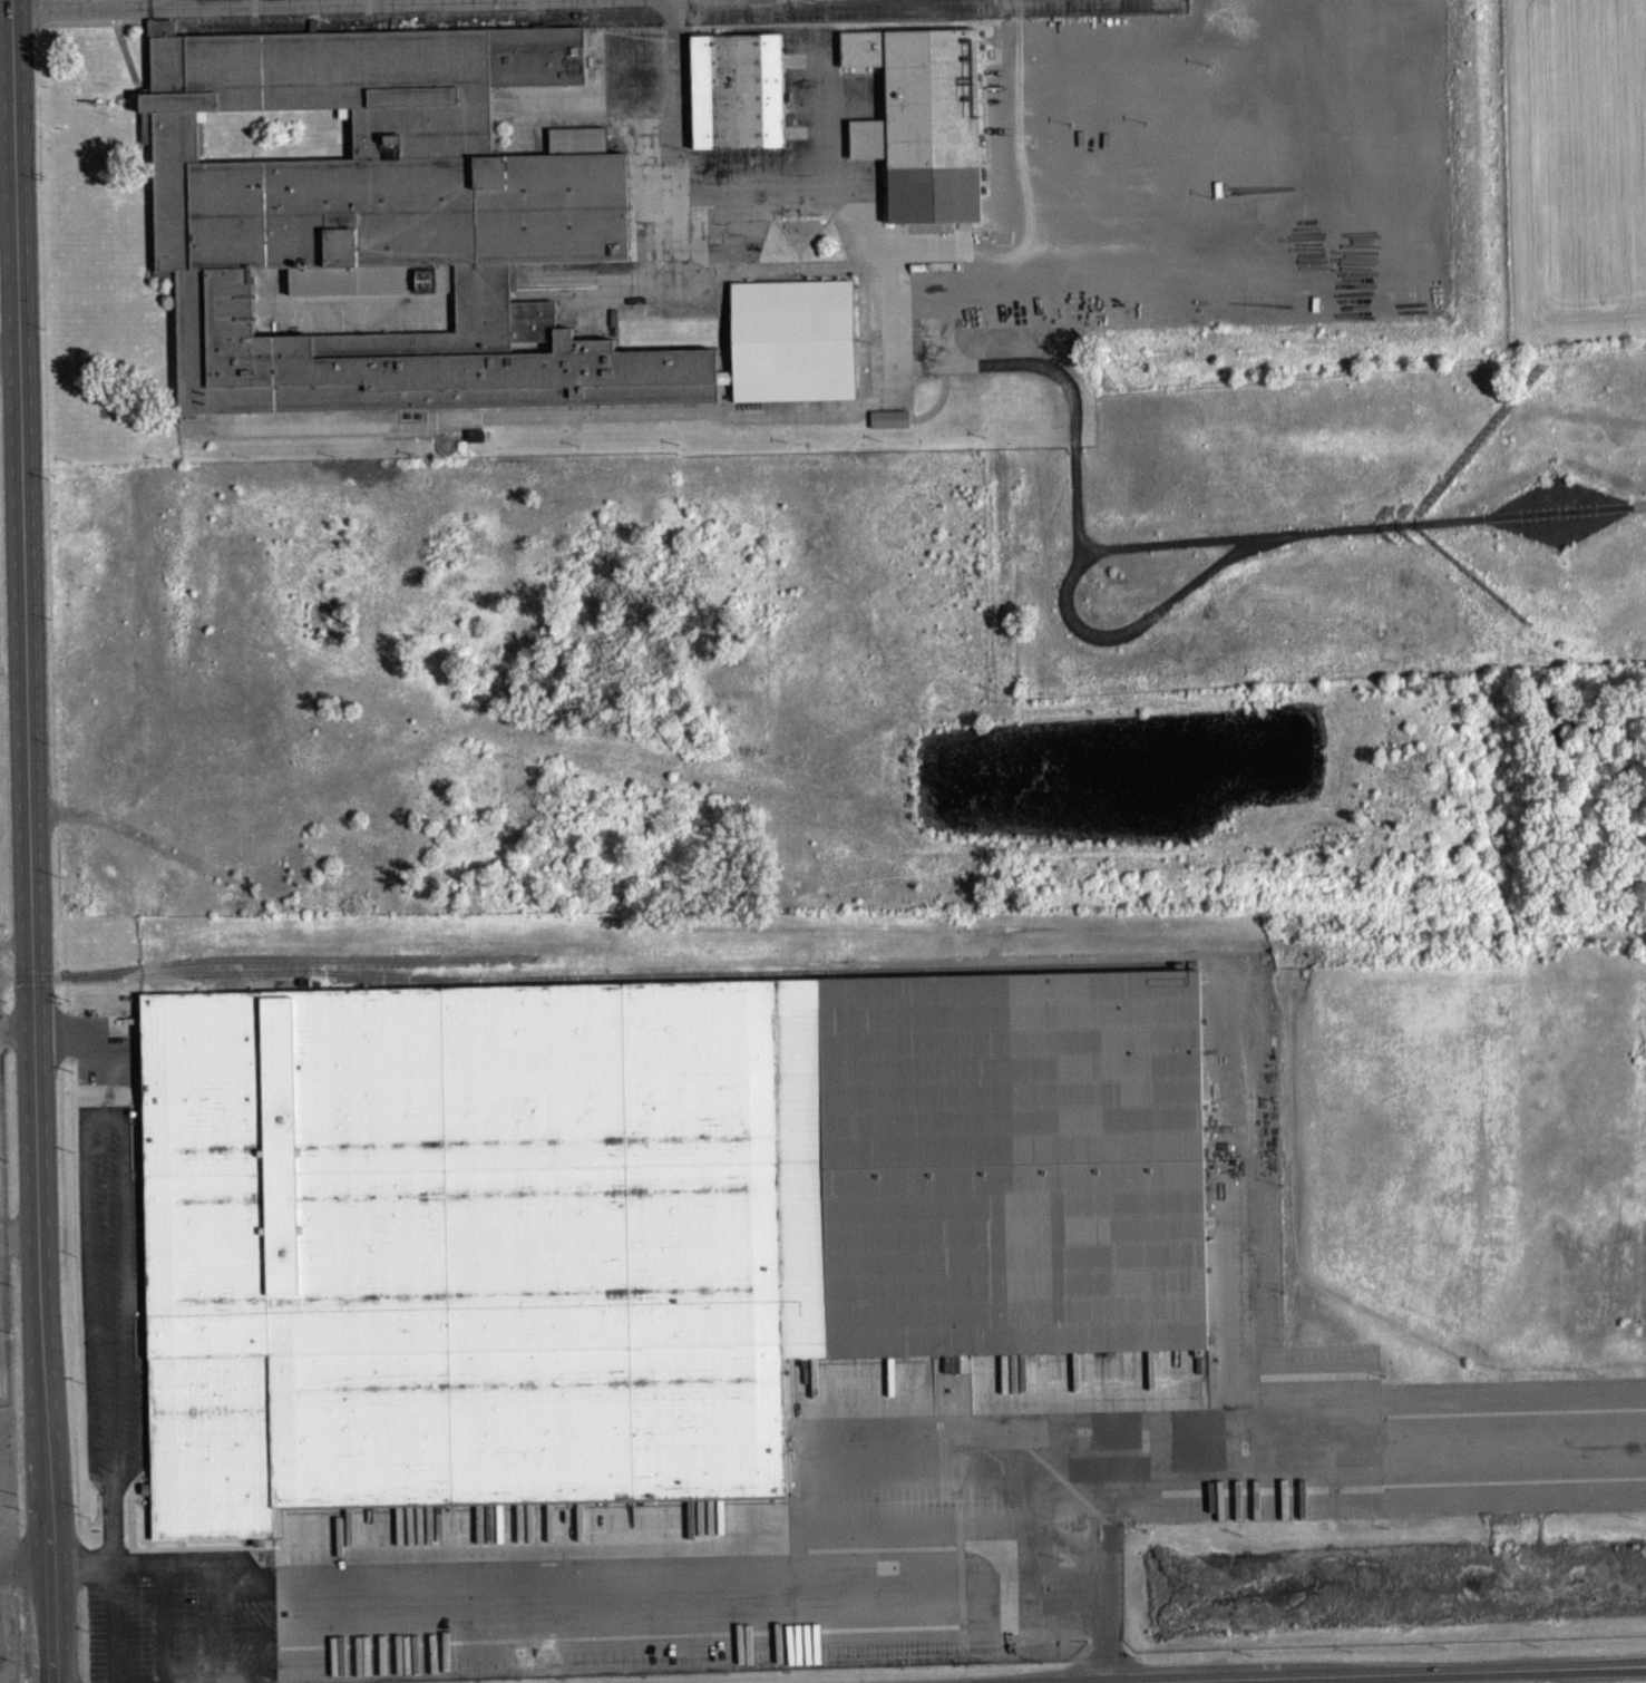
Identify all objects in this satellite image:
road: (174, 2)
road: (331, 2)
road: (94, 7)
building: (737, 89)
building: (923, 119)
building: (418, 233)
building: (892, 429)
road: (30, 841)
road: (17, 1025)
road: (68, 1055)
road: (105, 1130)
building: (634, 1218)
road: (88, 1302)
road: (129, 1311)
parking lot: (4, 1375)
parking lot: (846, 1476)
road: (1336, 1477)
road: (100, 1488)
road: (111, 1528)
road: (27, 1575)
road: (624, 1589)
road: (216, 1631)
parking lot: (8, 1638)
road: (1331, 1673)

